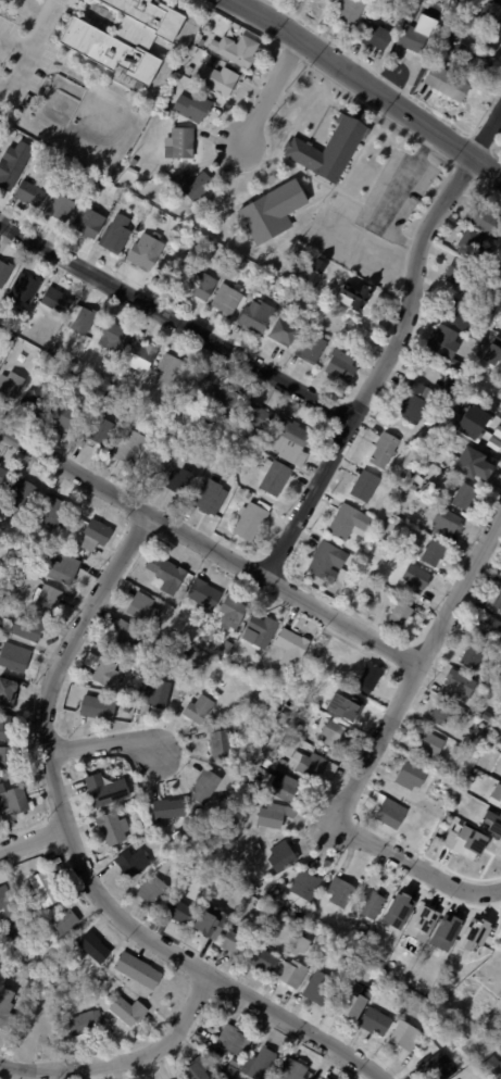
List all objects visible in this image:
building: (330, 0)
building: (425, 3)
building: (350, 10)
building: (490, 13)
building: (374, 35)
building: (126, 37)
building: (408, 42)
road: (33, 45)
building: (234, 49)
building: (464, 50)
building: (216, 78)
building: (444, 81)
road: (372, 83)
road: (270, 87)
building: (191, 106)
road: (487, 131)
building: (12, 133)
building: (179, 142)
building: (328, 149)
building: (52, 155)
building: (13, 163)
building: (130, 171)
building: (88, 176)
building: (171, 181)
building: (198, 185)
road: (397, 190)
building: (28, 193)
building: (124, 198)
building: (60, 202)
building: (270, 211)
building: (137, 218)
building: (484, 218)
building: (87, 222)
building: (172, 225)
building: (114, 234)
building: (473, 243)
building: (145, 251)
building: (239, 264)
building: (313, 269)
building: (4, 272)
building: (336, 272)
building: (463, 274)
building: (200, 287)
building: (22, 288)
building: (279, 288)
building: (358, 298)
building: (53, 299)
building: (225, 301)
building: (331, 314)
building: (456, 314)
building: (80, 315)
building: (255, 316)
road: (176, 317)
building: (281, 330)
building: (111, 336)
building: (494, 343)
building: (444, 347)
building: (310, 349)
building: (137, 356)
building: (340, 365)
road: (376, 366)
building: (167, 374)
building: (10, 385)
building: (449, 385)
building: (192, 388)
building: (131, 394)
building: (223, 399)
building: (34, 401)
building: (413, 401)
building: (497, 403)
building: (253, 414)
building: (63, 416)
building: (471, 421)
building: (204, 423)
building: (97, 430)
building: (484, 430)
building: (462, 435)
building: (176, 439)
building: (287, 440)
building: (127, 448)
building: (381, 450)
building: (150, 463)
building: (469, 464)
building: (419, 473)
building: (273, 476)
building: (3, 477)
building: (178, 482)
building: (363, 486)
building: (240, 490)
building: (18, 493)
building: (247, 494)
building: (462, 495)
building: (209, 498)
building: (54, 512)
building: (249, 519)
building: (390, 519)
building: (347, 522)
building: (444, 522)
building: (76, 523)
building: (92, 535)
building: (24, 537)
road: (210, 544)
building: (360, 551)
building: (434, 553)
building: (354, 560)
building: (327, 563)
building: (60, 569)
building: (159, 569)
building: (414, 578)
building: (372, 581)
building: (198, 590)
building: (2, 595)
building: (496, 595)
building: (43, 600)
building: (404, 601)
building: (141, 608)
building: (229, 612)
building: (398, 615)
building: (26, 627)
building: (488, 628)
building: (260, 630)
building: (120, 636)
building: (225, 647)
building: (289, 648)
building: (187, 650)
building: (471, 656)
building: (12, 661)
road: (416, 669)
building: (138, 673)
building: (228, 673)
building: (104, 674)
building: (368, 678)
building: (241, 682)
building: (458, 685)
building: (129, 690)
building: (7, 693)
building: (156, 695)
building: (350, 706)
building: (97, 707)
building: (191, 707)
building: (440, 713)
building: (486, 716)
building: (4, 728)
building: (334, 733)
building: (426, 744)
road: (99, 745)
building: (220, 746)
building: (5, 763)
building: (283, 763)
building: (310, 765)
building: (409, 776)
building: (278, 786)
building: (203, 787)
building: (104, 789)
building: (253, 794)
building: (494, 795)
building: (11, 805)
building: (166, 810)
building: (388, 812)
building: (274, 816)
building: (134, 818)
building: (434, 821)
building: (492, 821)
building: (110, 828)
building: (238, 832)
building: (425, 832)
road: (29, 838)
building: (463, 840)
building: (255, 846)
building: (280, 856)
road: (75, 857)
building: (130, 862)
road: (414, 864)
building: (296, 866)
building: (200, 884)
building: (303, 886)
building: (41, 888)
building: (152, 891)
building: (266, 891)
building: (338, 893)
building: (4, 899)
building: (277, 903)
building: (368, 905)
building: (398, 911)
building: (177, 912)
building: (209, 920)
building: (421, 921)
building: (64, 924)
building: (444, 931)
building: (472, 933)
building: (234, 944)
building: (299, 945)
building: (91, 948)
building: (261, 961)
building: (136, 971)
building: (289, 974)
building: (461, 987)
building: (317, 989)
building: (346, 1005)
building: (4, 1011)
building: (126, 1012)
building: (435, 1019)
building: (374, 1022)
building: (84, 1024)
building: (455, 1028)
building: (30, 1029)
building: (403, 1036)
building: (231, 1041)
road: (124, 1061)
building: (261, 1063)
building: (435, 1067)
building: (195, 1069)
building: (492, 1069)
building: (289, 1070)
building: (217, 1074)
building: (320, 1077)

